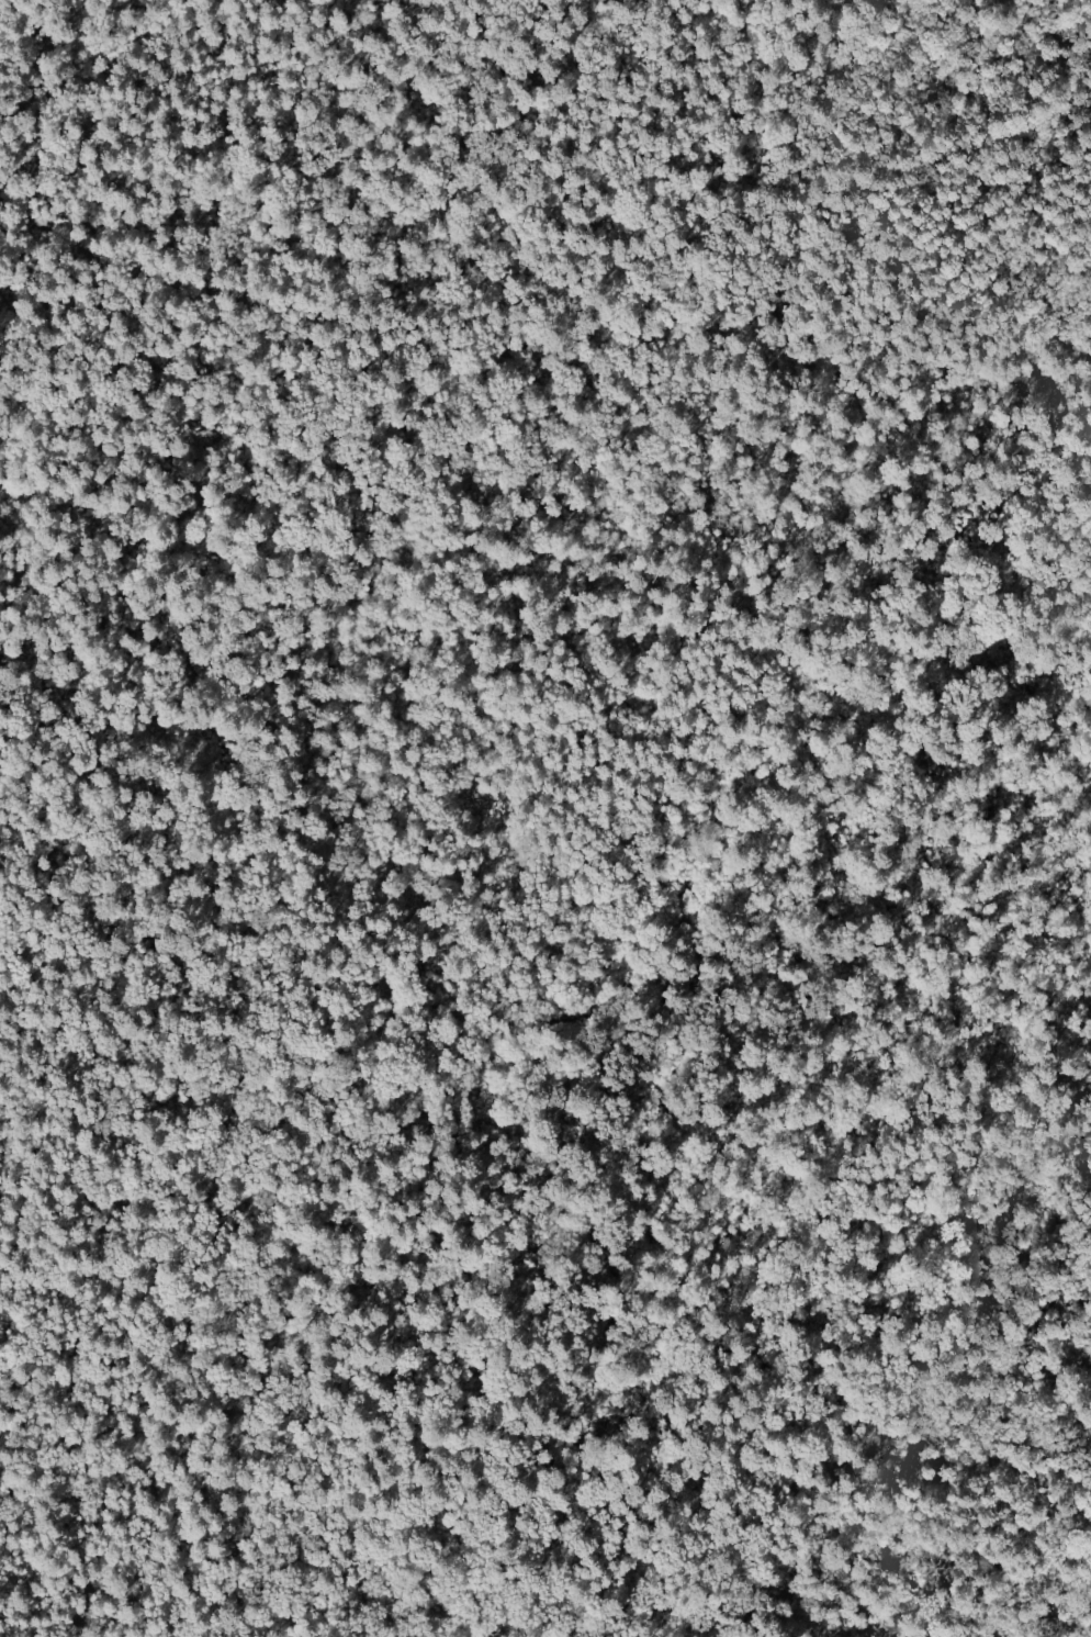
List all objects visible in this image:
road: (542, 281)

